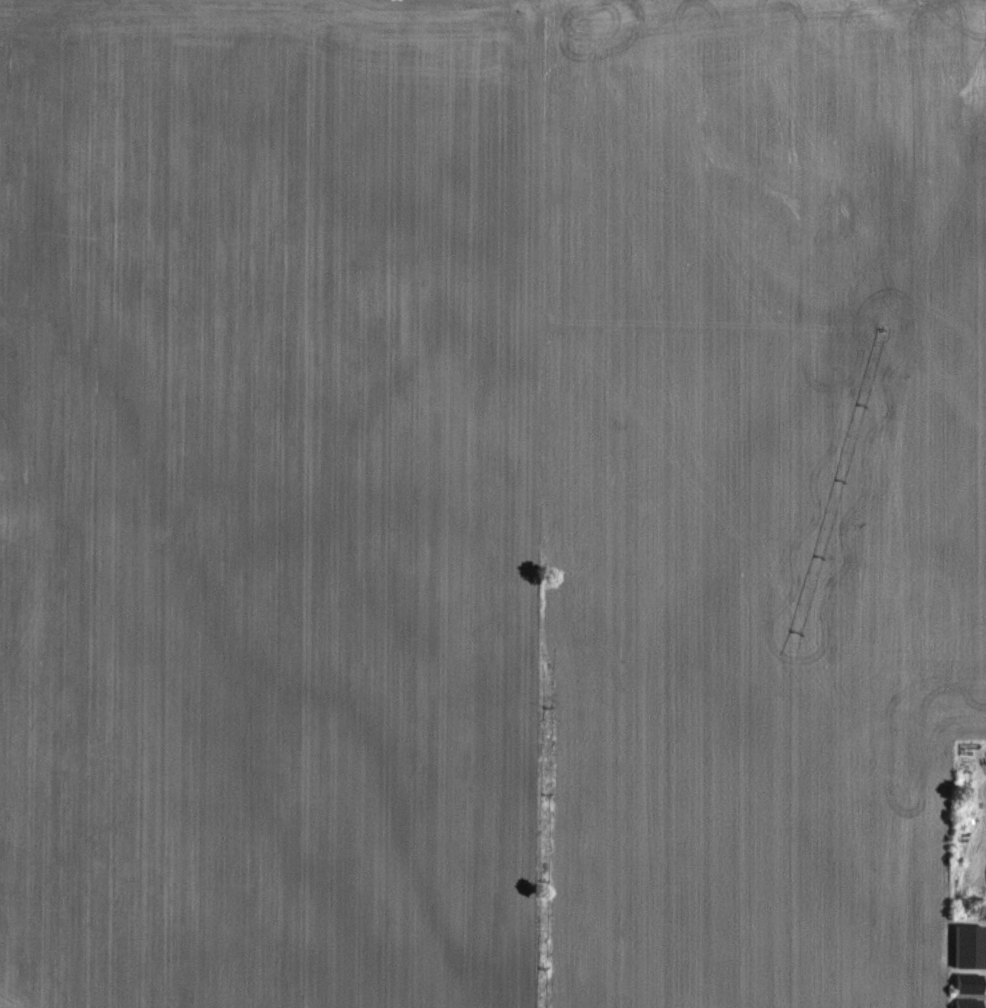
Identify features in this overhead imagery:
building: (971, 945)

